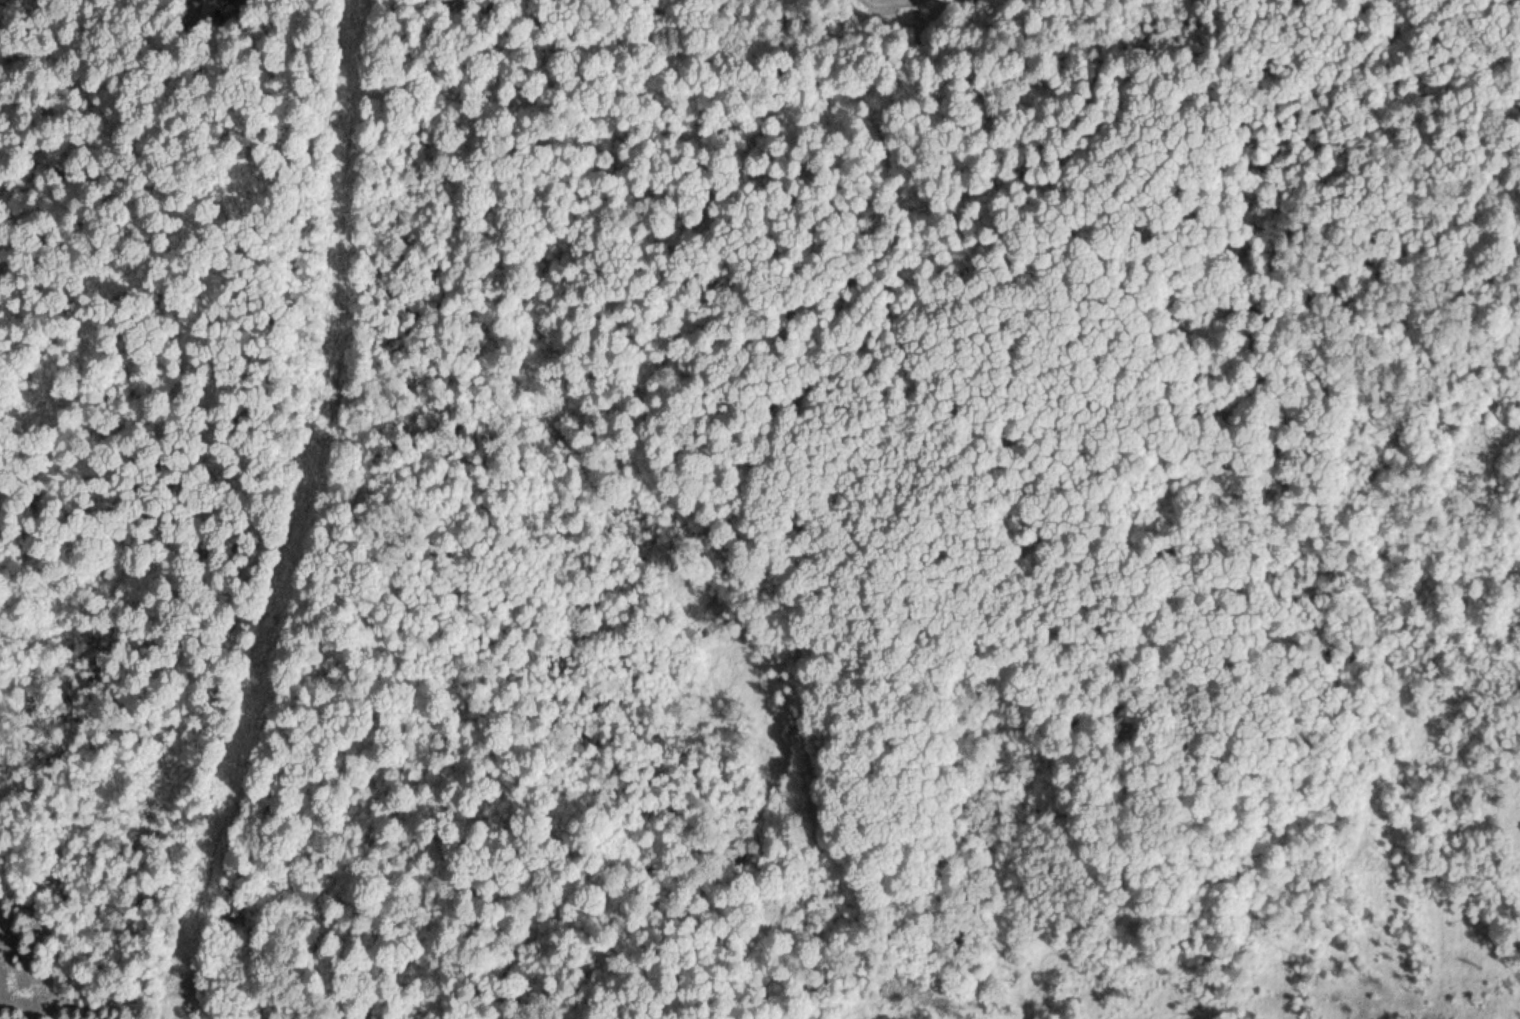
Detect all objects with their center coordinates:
building: (226, 1)

